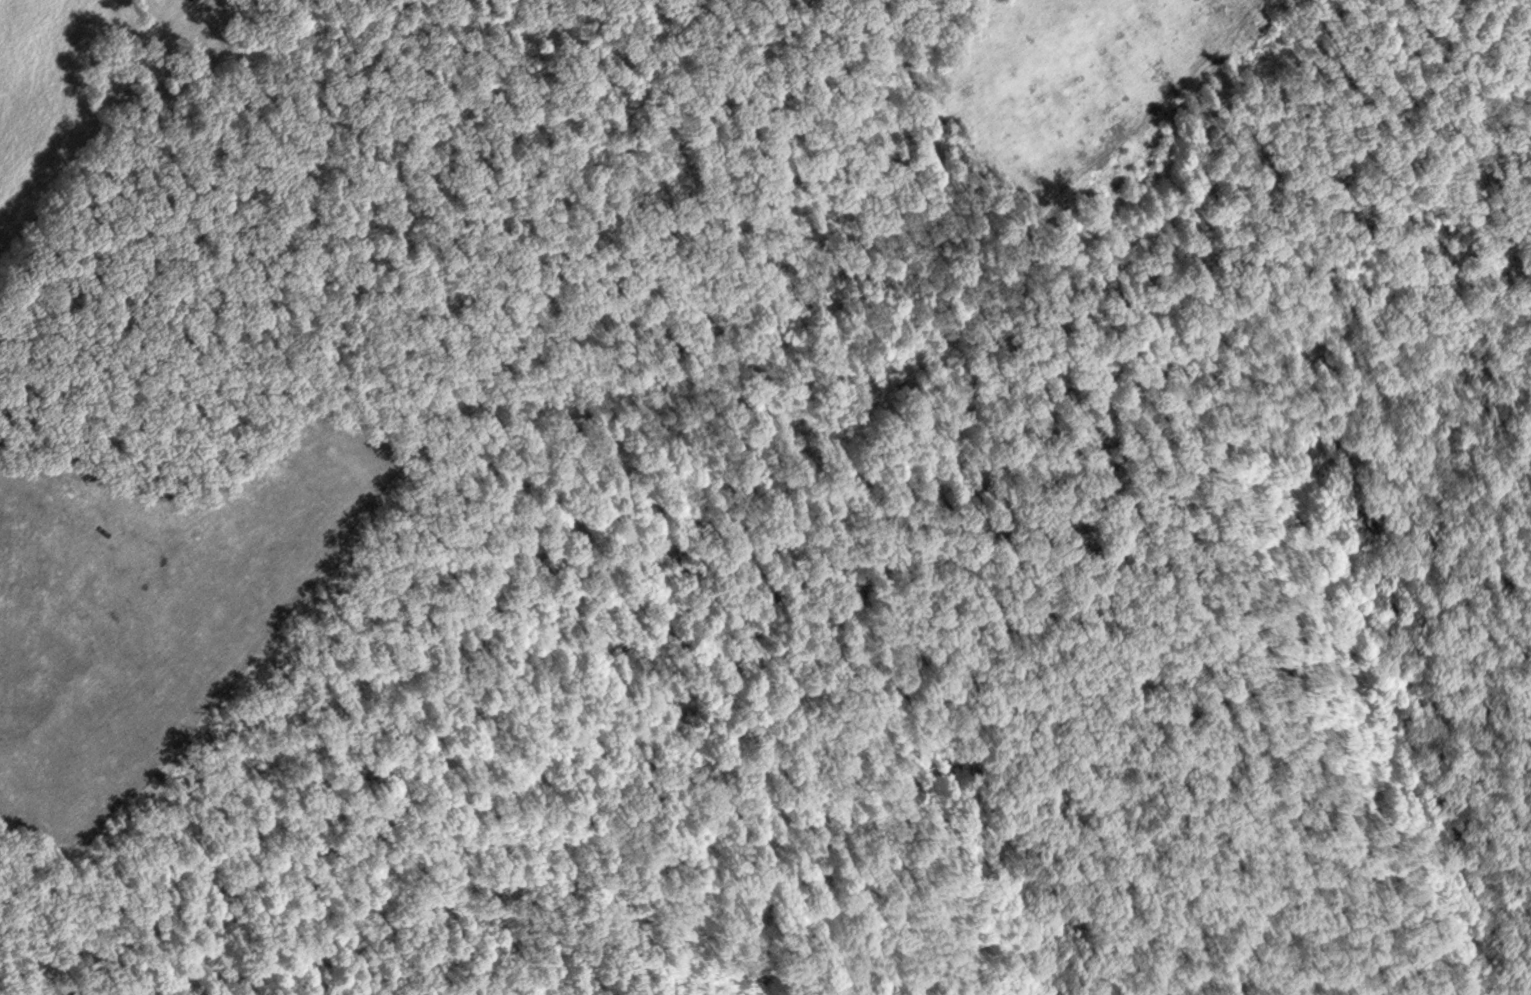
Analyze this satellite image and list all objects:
road: (80, 954)

